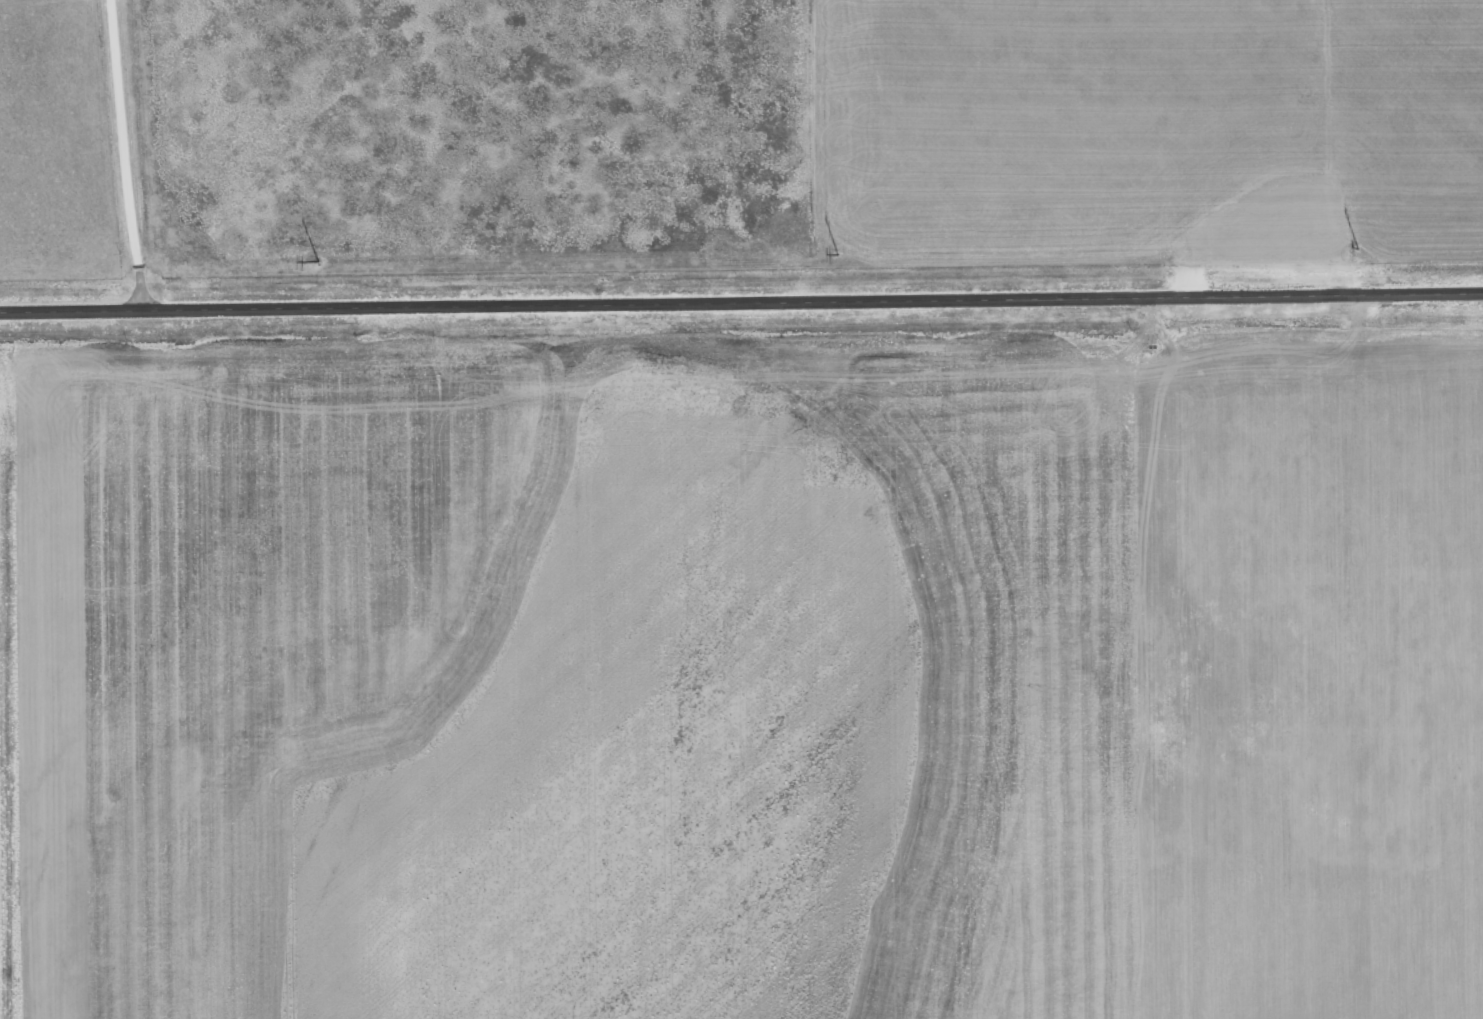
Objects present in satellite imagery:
road: (100, 153)
power tower: (1358, 248)
power tower: (837, 255)
power tower: (316, 261)
road: (741, 297)
road: (1378, 654)

